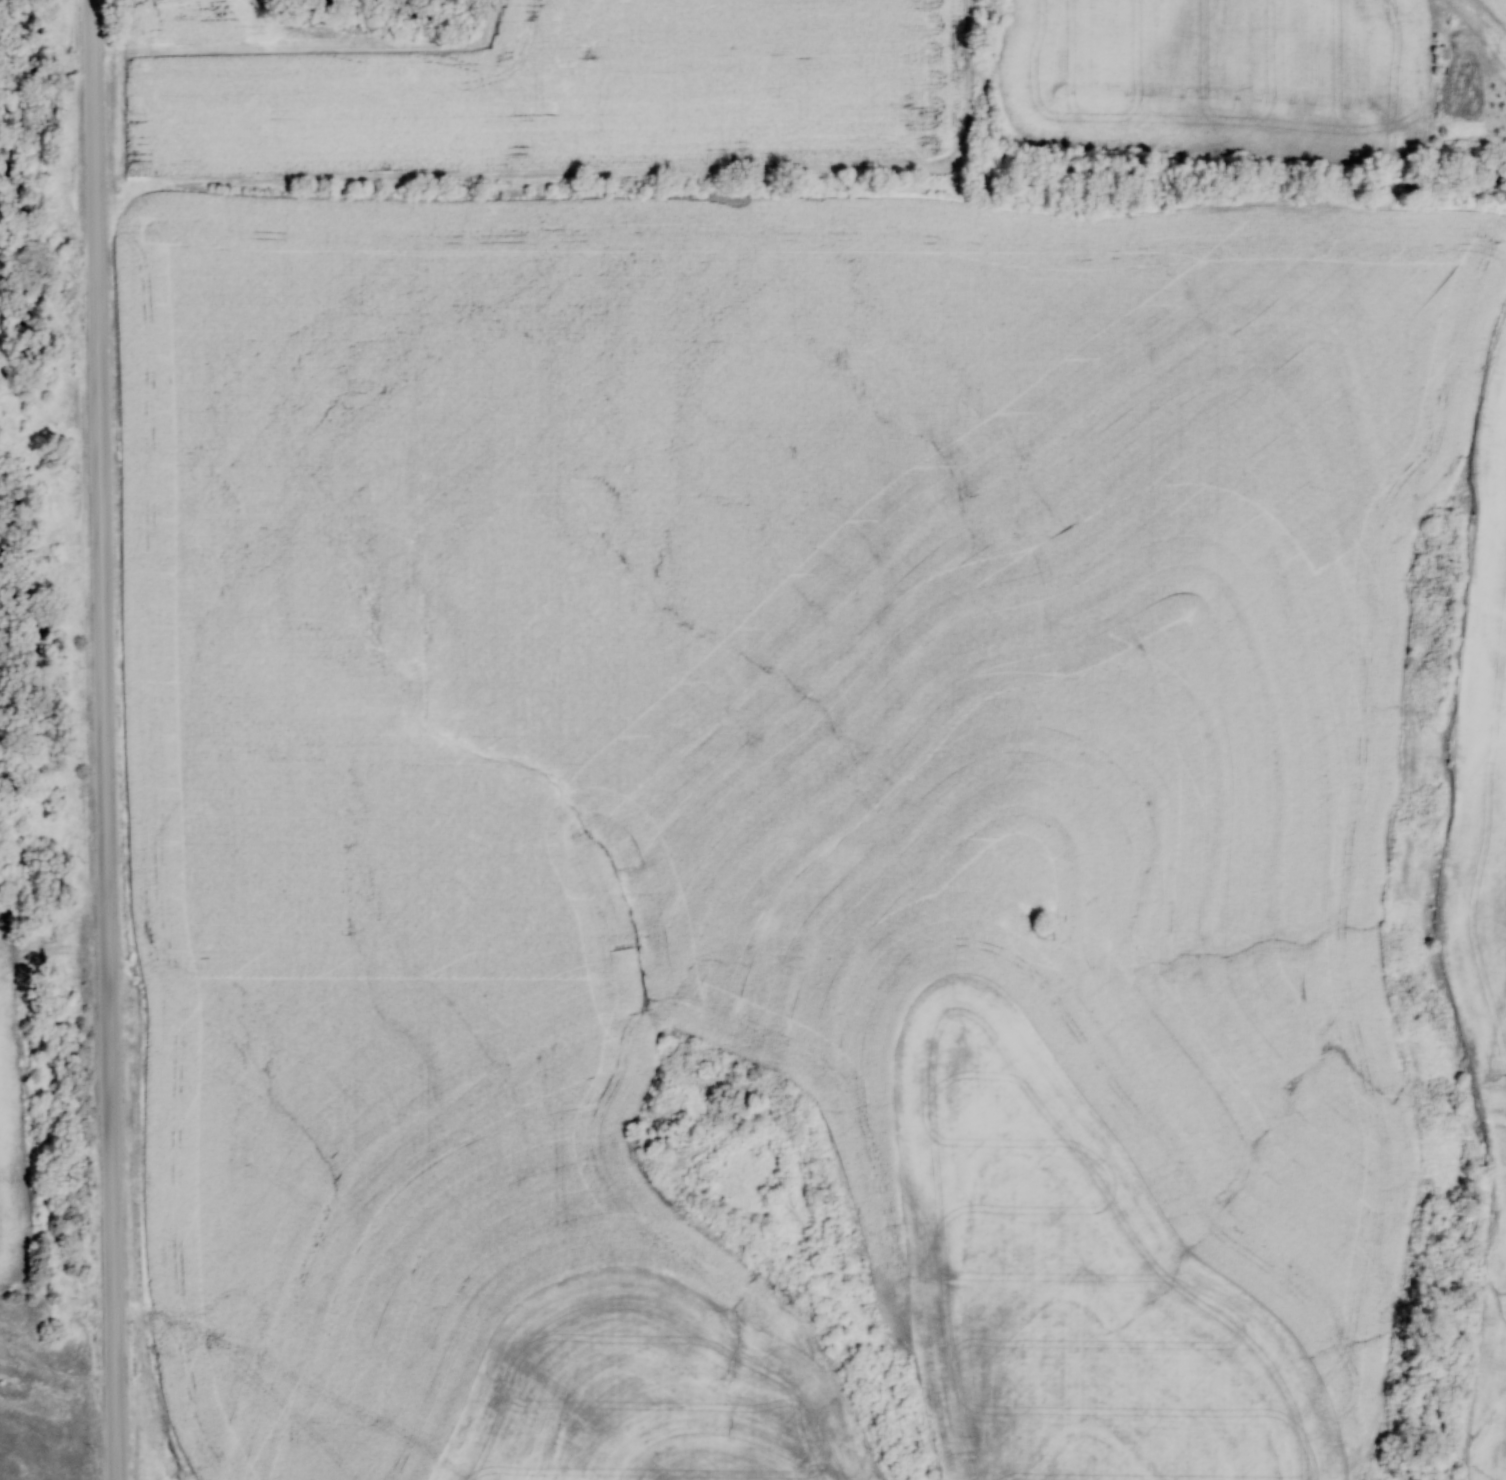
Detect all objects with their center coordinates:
road: (104, 740)

